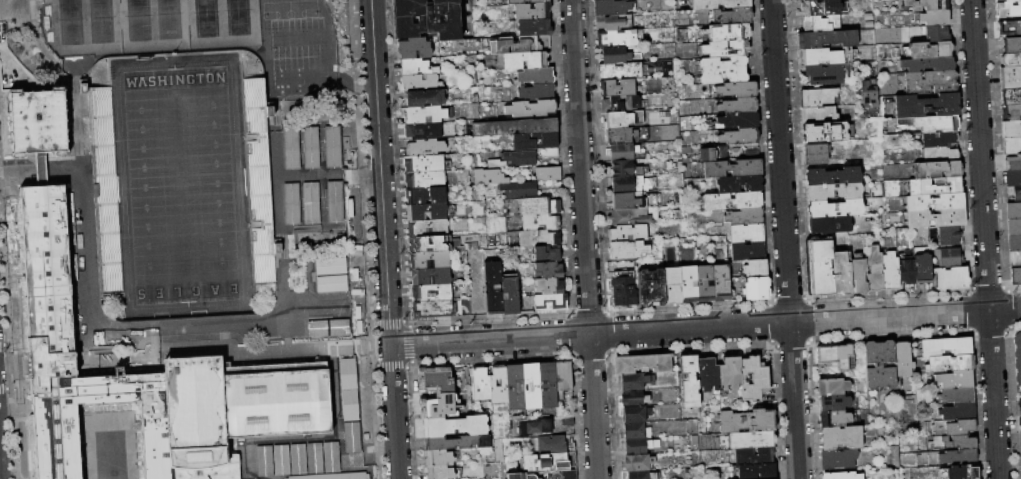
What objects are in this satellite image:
building: (810, 0)
building: (528, 2)
building: (721, 4)
building: (927, 5)
building: (613, 7)
building: (823, 8)
building: (1009, 9)
building: (532, 12)
park: (236, 17)
building: (733, 17)
building: (935, 17)
park: (204, 18)
park: (167, 19)
building: (427, 19)
park: (136, 20)
park: (99, 21)
park: (69, 22)
building: (614, 22)
building: (821, 24)
building: (535, 28)
building: (1010, 29)
building: (727, 33)
building: (937, 33)
building: (616, 39)
building: (827, 39)
building: (519, 45)
building: (1012, 45)
building: (415, 49)
building: (726, 49)
parking lot: (295, 50)
building: (931, 50)
building: (616, 56)
building: (824, 57)
building: (522, 60)
building: (1011, 60)
building: (928, 64)
building: (416, 67)
building: (724, 71)
building: (620, 72)
building: (825, 74)
building: (535, 76)
building: (1010, 78)
building: (931, 82)
road: (356, 83)
building: (420, 83)
building: (618, 88)
building: (738, 90)
building: (537, 93)
building: (1011, 97)
building: (819, 98)
building: (423, 99)
building: (621, 104)
building: (738, 106)
building: (927, 106)
building: (531, 109)
building: (1011, 113)
building: (424, 115)
building: (818, 115)
building: (623, 119)
building: (740, 120)
building: (931, 124)
building: (516, 127)
building: (1011, 129)
building: (424, 132)
building: (826, 133)
building: (621, 136)
building: (740, 137)
building: (940, 139)
building: (535, 141)
building: (310, 143)
building: (292, 146)
building: (330, 146)
building: (1012, 146)
building: (425, 148)
building: (551, 152)
building: (623, 152)
building: (712, 153)
building: (816, 154)
building: (941, 155)
building: (517, 160)
building: (424, 163)
building: (1013, 163)
road: (16, 169)
road: (37, 169)
building: (626, 169)
building: (734, 169)
building: (938, 170)
road: (352, 172)
road: (323, 173)
building: (549, 174)
building: (490, 177)
building: (832, 177)
building: (1013, 179)
building: (258, 180)
building: (425, 180)
building: (741, 184)
building: (625, 185)
park: (182, 187)
building: (936, 187)
building: (520, 190)
building: (833, 192)
building: (319, 195)
building: (1017, 195)
building: (425, 196)
building: (634, 201)
building: (733, 201)
building: (306, 202)
building: (936, 202)
building: (333, 203)
building: (541, 206)
building: (834, 209)
building: (1014, 211)
building: (426, 212)
building: (634, 217)
building: (746, 217)
building: (937, 219)
building: (540, 222)
building: (829, 225)
building: (1014, 227)
building: (428, 228)
building: (747, 233)
building: (628, 234)
building: (951, 236)
road: (384, 239)
building: (539, 239)
road: (584, 239)
road: (785, 239)
road: (985, 239)
building: (1014, 243)
building: (433, 245)
building: (471, 247)
building: (628, 250)
building: (749, 251)
building: (548, 254)
building: (952, 257)
building: (1015, 260)
building: (430, 261)
building: (922, 266)
building: (332, 267)
building: (756, 268)
building: (820, 269)
building: (549, 270)
building: (874, 270)
building: (891, 272)
building: (907, 272)
building: (840, 274)
building: (858, 276)
building: (431, 277)
building: (1015, 277)
building: (951, 278)
building: (45, 283)
building: (705, 283)
building: (721, 283)
building: (333, 284)
building: (689, 284)
building: (550, 286)
building: (672, 286)
building: (493, 287)
building: (652, 288)
building: (624, 289)
building: (757, 289)
building: (432, 293)
building: (510, 295)
building: (552, 303)
building: (432, 309)
road: (705, 327)
building: (330, 328)
road: (105, 331)
road: (370, 346)
building: (946, 347)
road: (290, 351)
building: (837, 357)
building: (1017, 357)
building: (903, 360)
building: (949, 364)
building: (642, 365)
building: (880, 365)
building: (561, 375)
building: (728, 375)
building: (706, 376)
building: (434, 378)
building: (688, 380)
building: (752, 380)
building: (954, 380)
building: (480, 382)
building: (634, 382)
building: (497, 383)
building: (546, 384)
building: (529, 385)
building: (513, 386)
building: (832, 387)
building: (350, 390)
building: (957, 395)
building: (632, 399)
building: (833, 403)
building: (1019, 404)
building: (437, 405)
building: (959, 412)
building: (634, 414)
building: (834, 419)
building: (567, 421)
building: (746, 422)
building: (453, 425)
building: (533, 427)
building: (954, 428)
building: (634, 431)
building: (841, 438)
building: (1020, 438)
building: (750, 441)
building: (448, 443)
building: (956, 443)
building: (553, 444)
building: (637, 447)
road: (378, 449)
road: (307, 454)
building: (753, 457)
building: (436, 458)
building: (959, 458)
building: (837, 460)
building: (548, 462)
building: (636, 464)
building: (438, 472)
building: (756, 472)
building: (960, 473)
building: (542, 475)
building: (639, 475)
building: (334, 476)
building: (842, 476)

